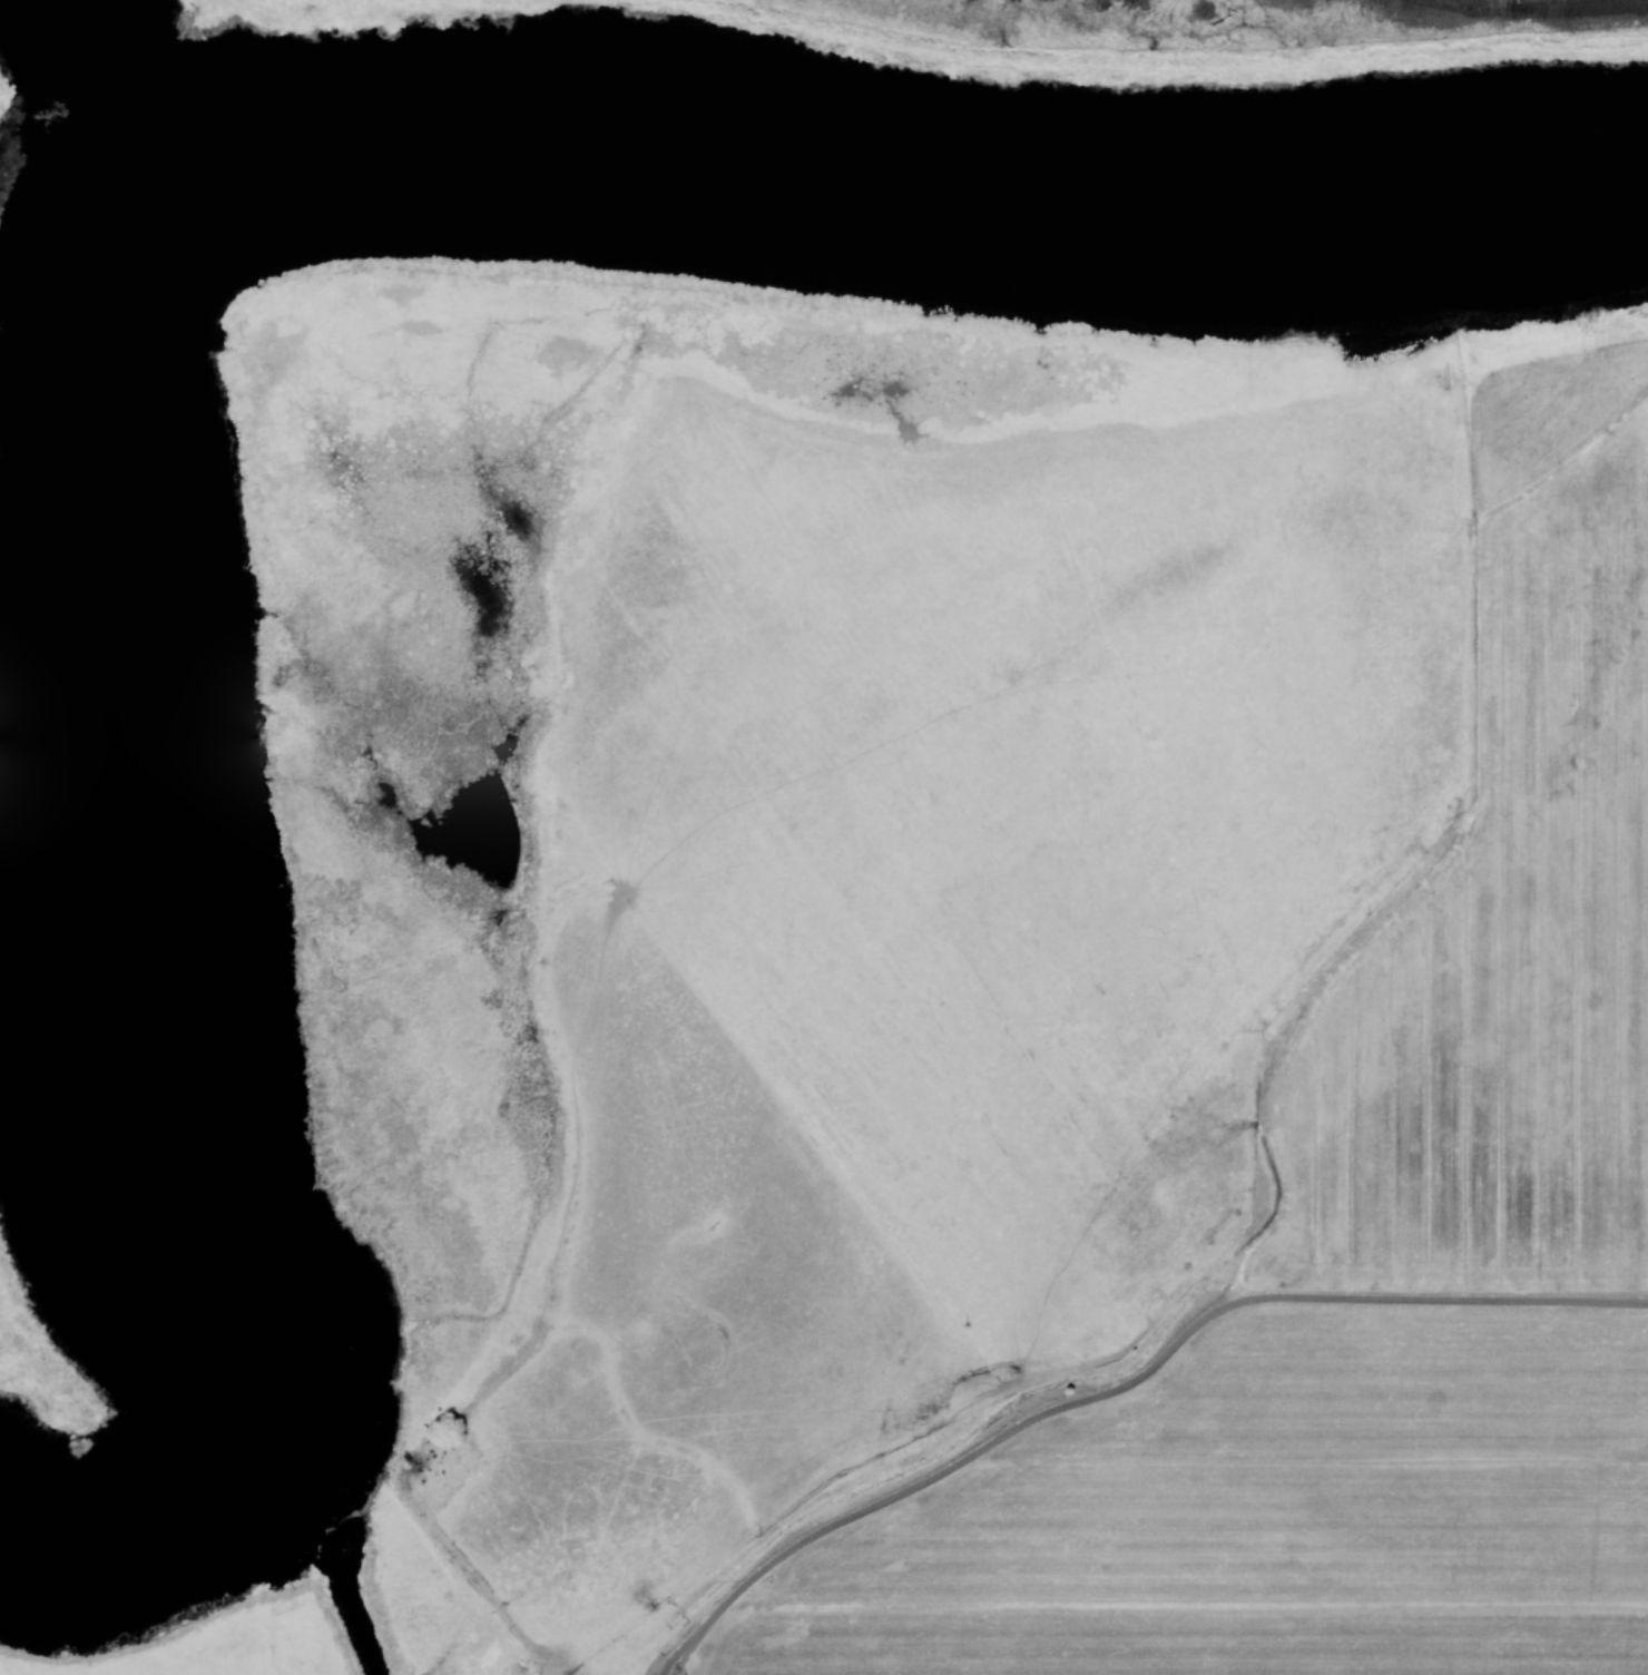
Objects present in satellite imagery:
river: (77, 92)
river: (658, 175)
river: (1416, 192)
river: (122, 957)
road: (1128, 1392)

